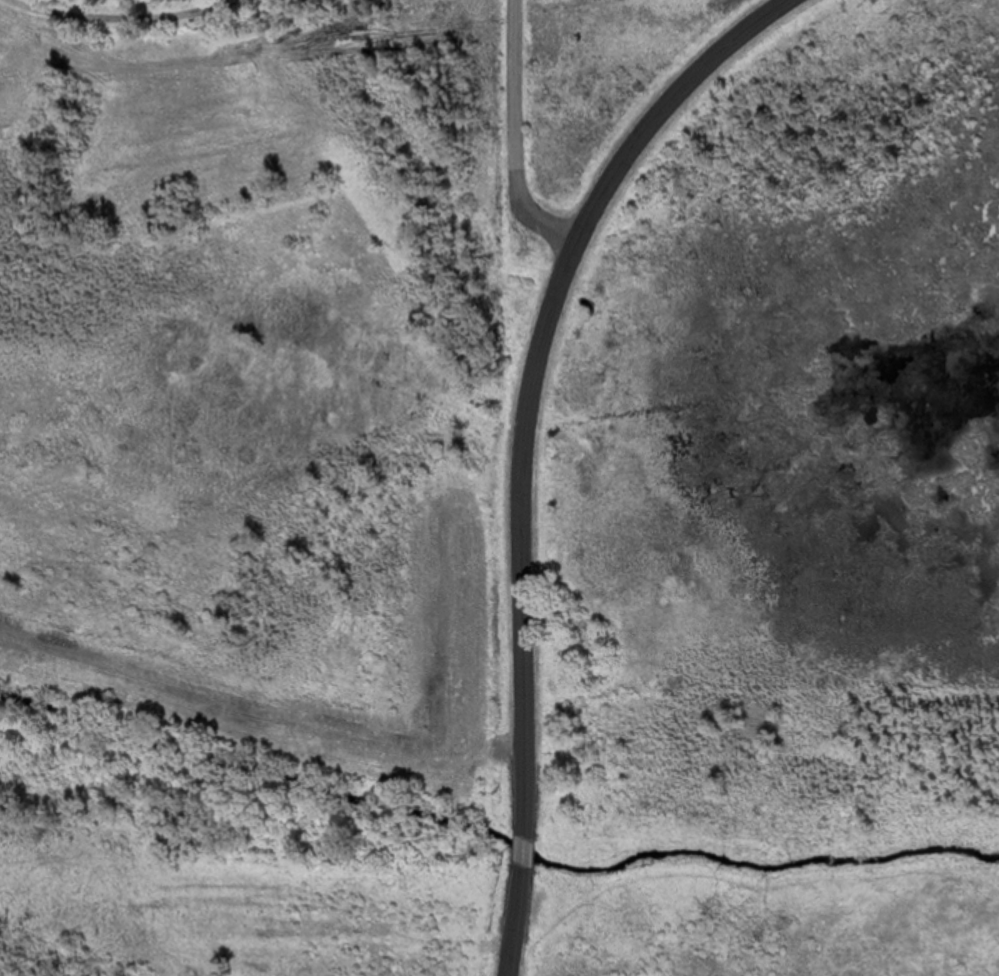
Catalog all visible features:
road: (113, 13)
road: (514, 141)
road: (524, 440)

